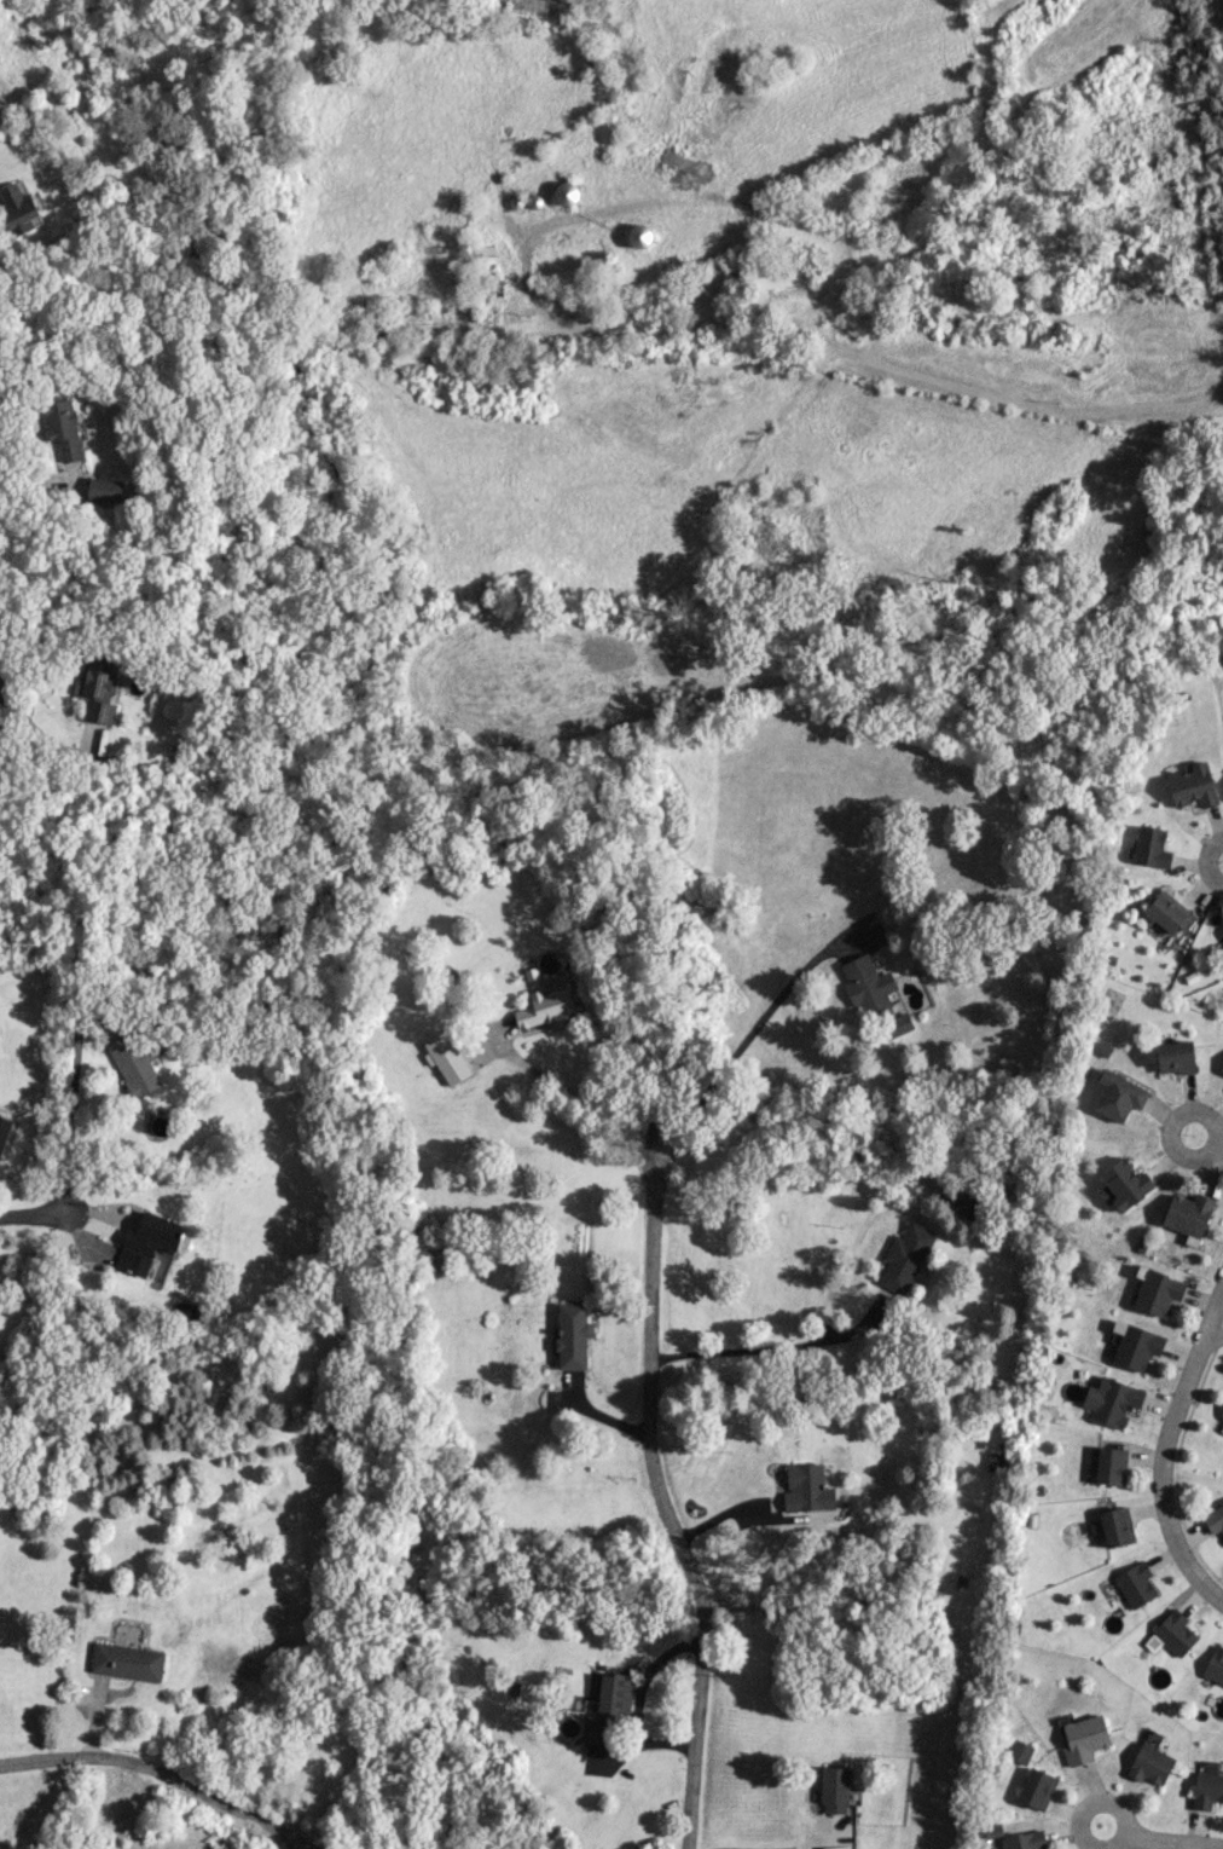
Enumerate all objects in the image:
road: (1222, 5)
building: (566, 193)
building: (18, 208)
building: (638, 236)
building: (479, 255)
building: (781, 273)
road: (828, 339)
building: (63, 427)
building: (105, 489)
building: (99, 691)
road: (50, 739)
building: (1193, 786)
building: (1150, 847)
road: (1206, 860)
building: (1167, 913)
building: (1222, 931)
building: (873, 995)
building: (545, 1007)
road: (740, 1047)
building: (446, 1057)
building: (1175, 1057)
building: (133, 1064)
building: (1222, 1067)
road: (73, 1093)
building: (1118, 1096)
road: (581, 1100)
road: (1196, 1111)
building: (4, 1131)
road: (1219, 1144)
building: (1125, 1183)
building: (957, 1198)
road: (31, 1212)
building: (1188, 1217)
building: (150, 1241)
building: (904, 1256)
building: (1157, 1290)
road: (1215, 1329)
building: (572, 1335)
building: (1134, 1345)
road: (776, 1347)
building: (1111, 1400)
building: (1222, 1415)
road: (1165, 1450)
building: (1111, 1466)
building: (807, 1489)
road: (660, 1497)
road: (730, 1510)
building: (1213, 1520)
building: (1117, 1526)
building: (1135, 1584)
building: (1175, 1633)
building: (127, 1662)
building: (1215, 1665)
building: (609, 1708)
building: (1084, 1739)
building: (1019, 1751)
building: (1150, 1764)
road: (162, 1774)
building: (1036, 1789)
building: (834, 1790)
building: (1207, 1790)
road: (1100, 1802)
building: (991, 1831)
building: (1025, 1841)
road: (1166, 1842)
road: (816, 1844)
road: (294, 1845)

